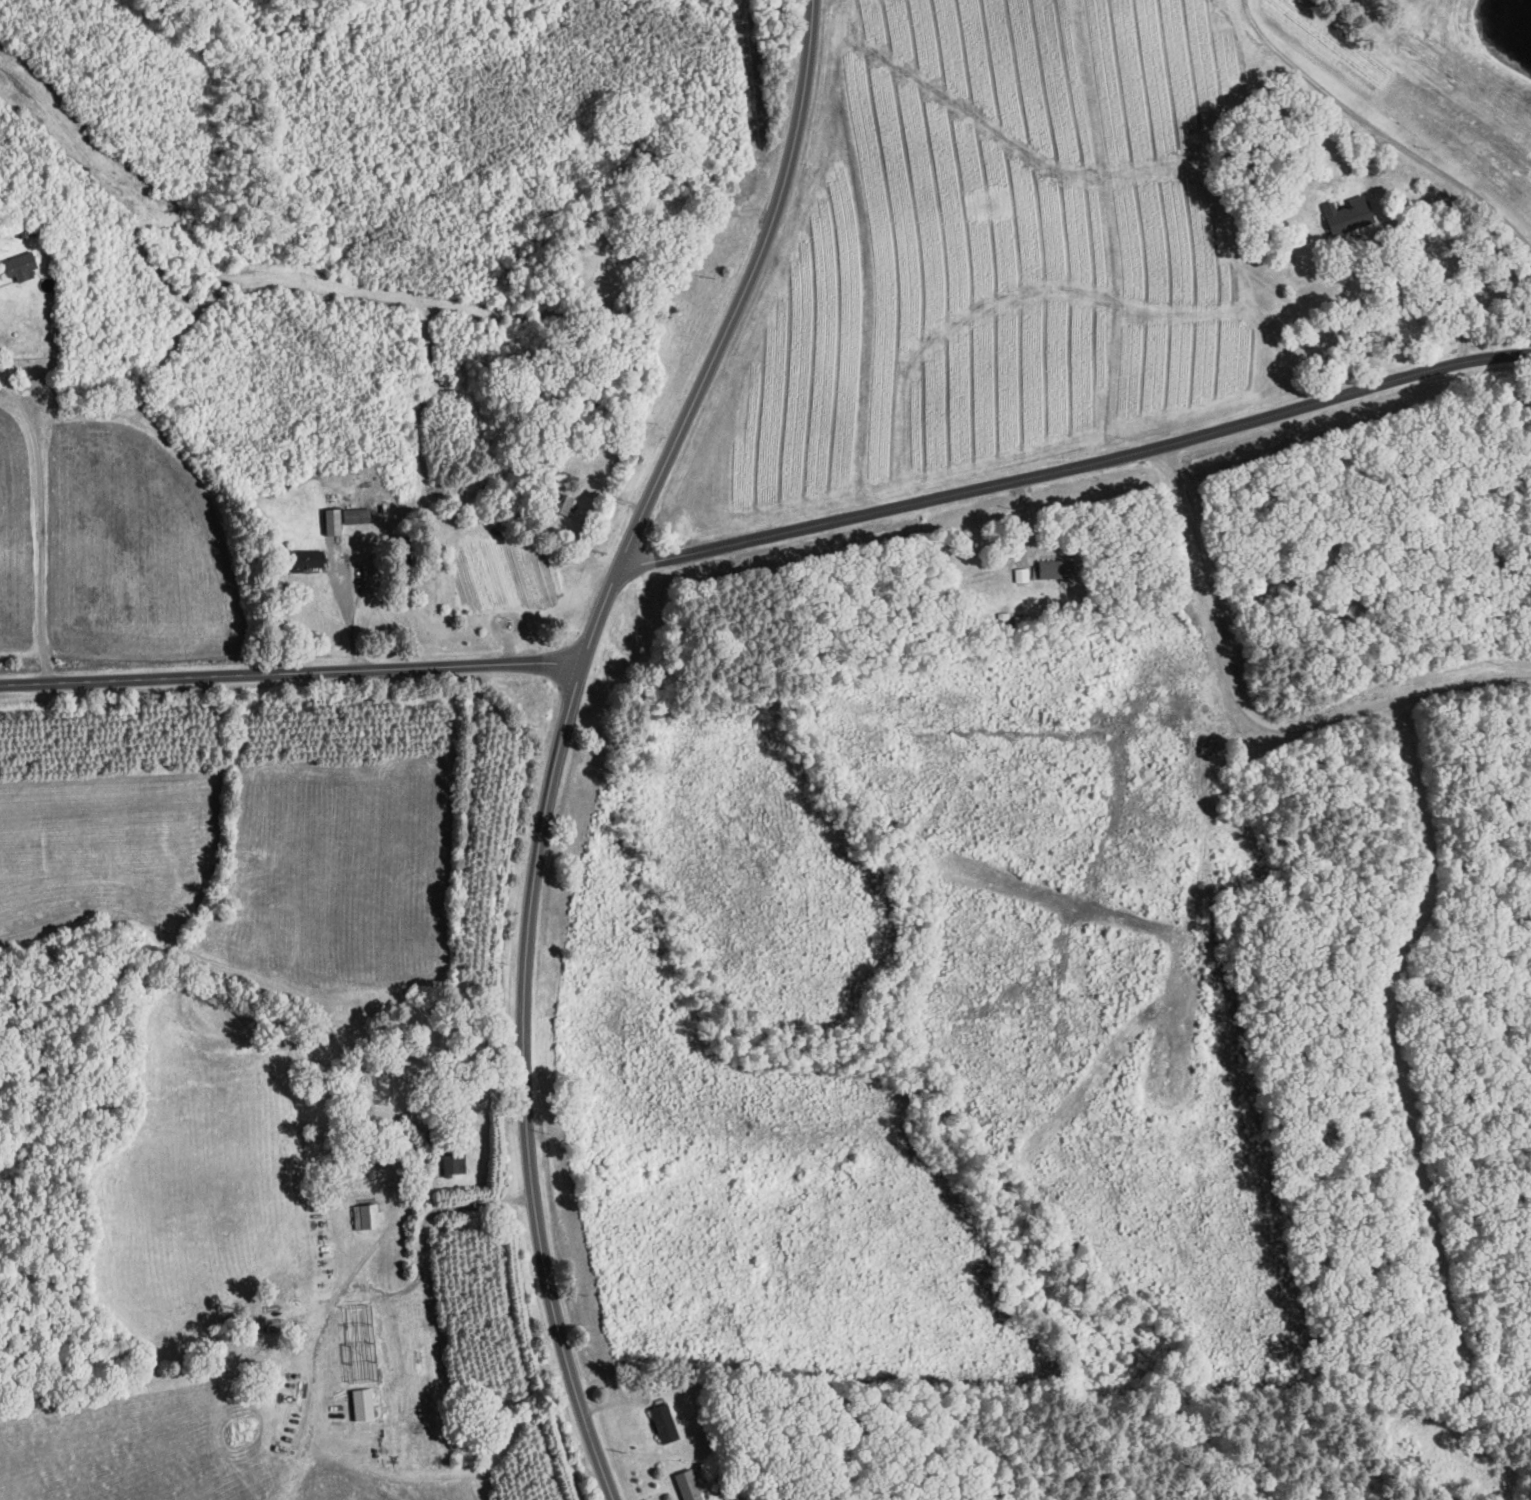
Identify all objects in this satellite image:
road: (1378, 132)
building: (659, 172)
building: (1347, 217)
building: (19, 268)
building: (609, 273)
road: (1448, 287)
road: (1075, 468)
building: (561, 505)
road: (42, 522)
building: (306, 561)
building: (1055, 571)
building: (1021, 577)
road: (351, 634)
road: (290, 673)
road: (1253, 717)
road: (563, 734)
road: (7, 1147)
building: (453, 1164)
building: (367, 1219)
building: (355, 1344)
building: (663, 1425)
building: (688, 1486)

